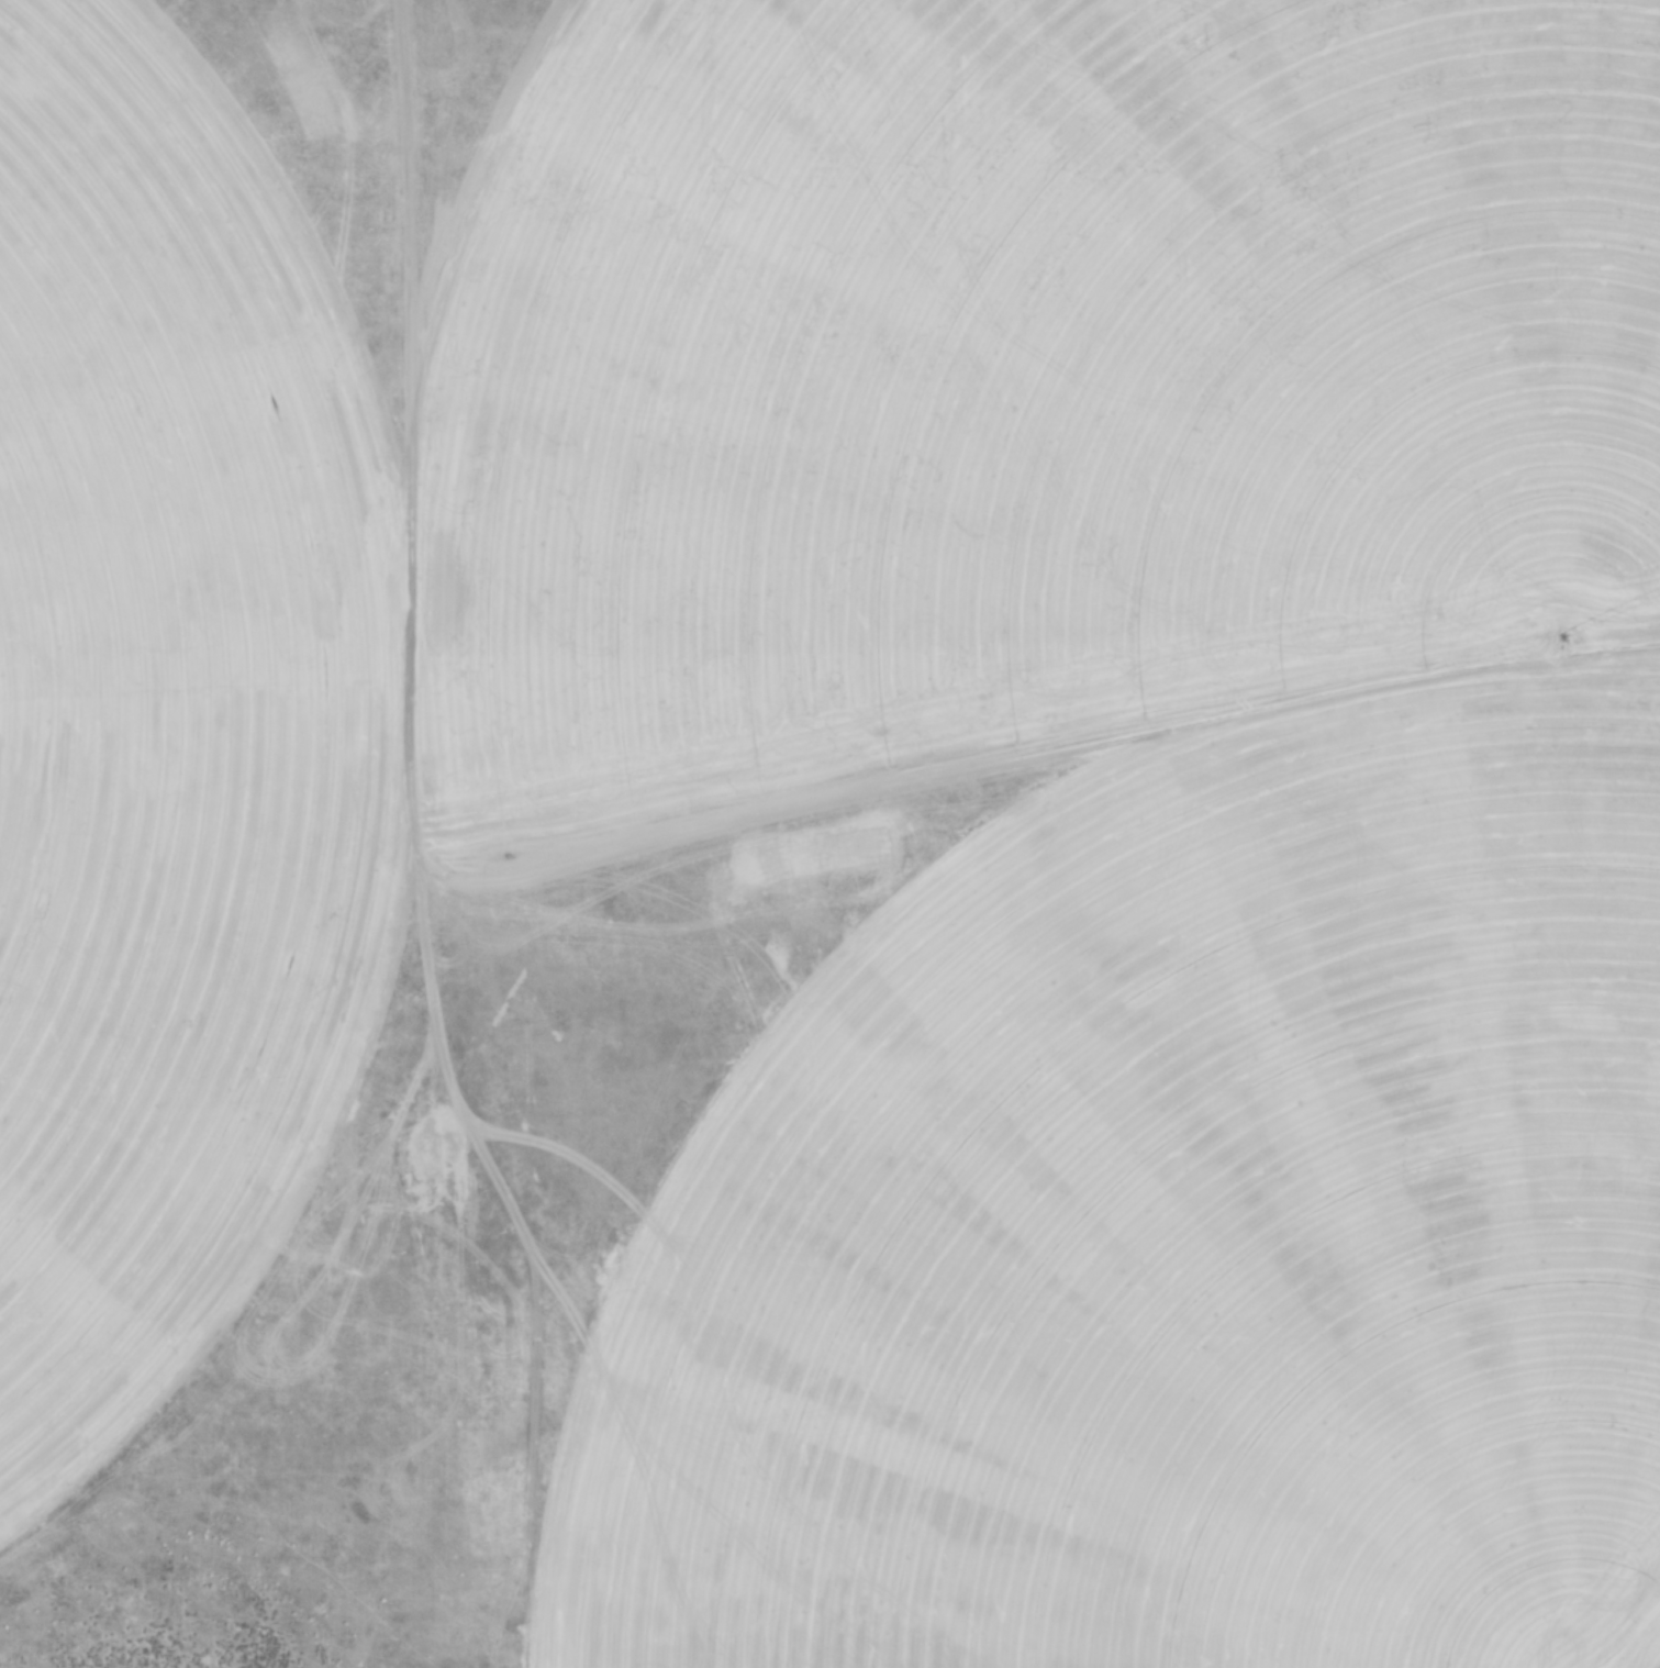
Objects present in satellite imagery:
crop: (177, 707)

